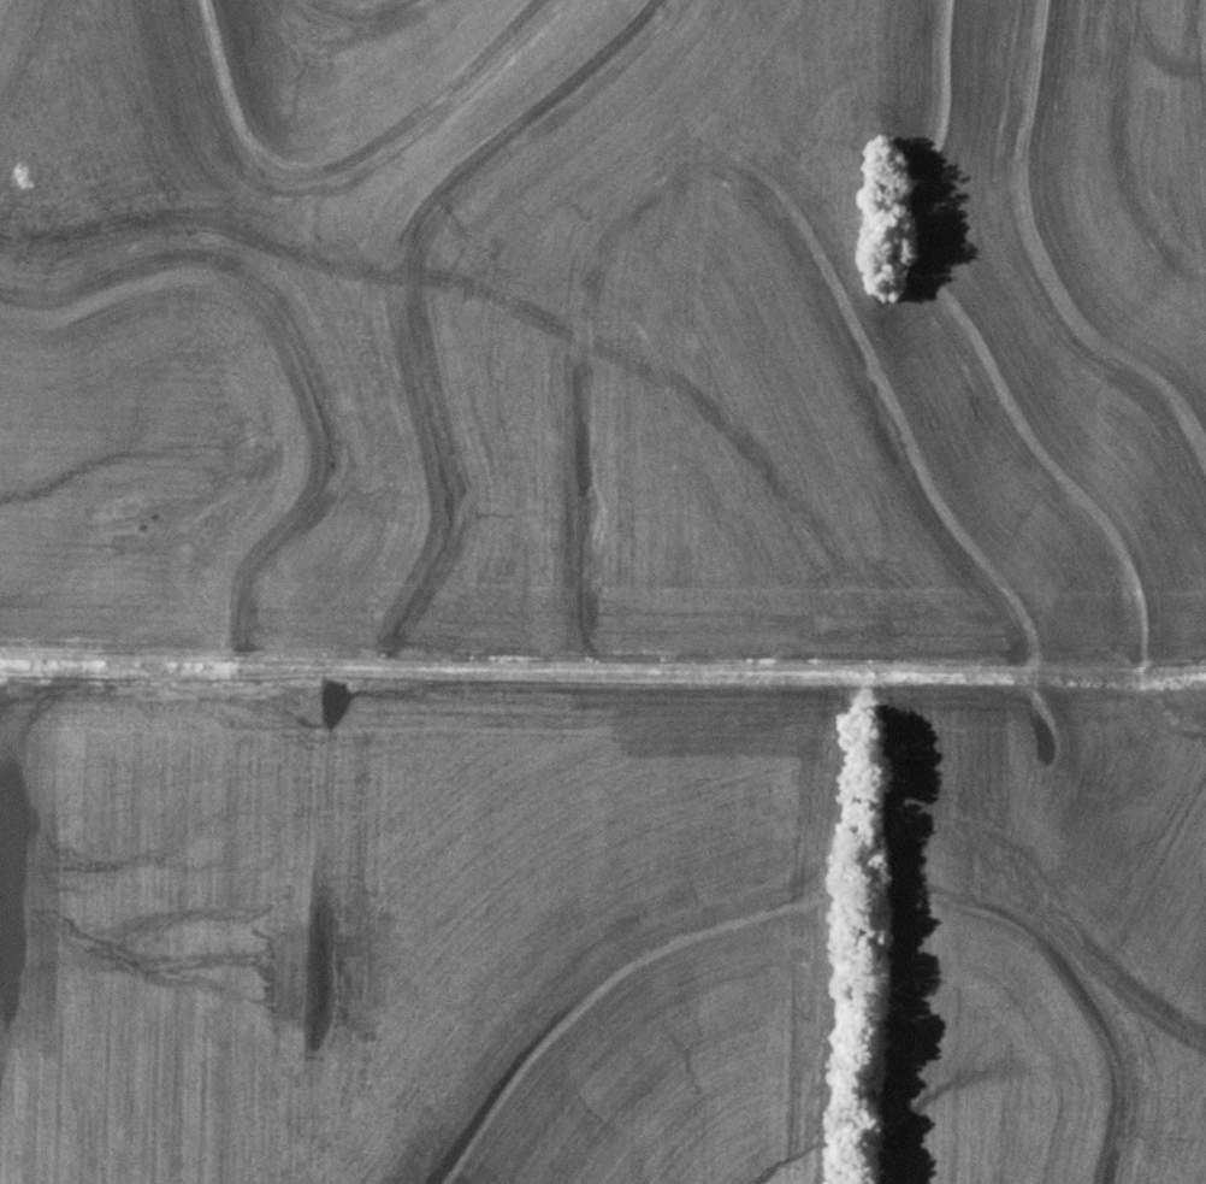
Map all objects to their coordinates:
road: (602, 661)

